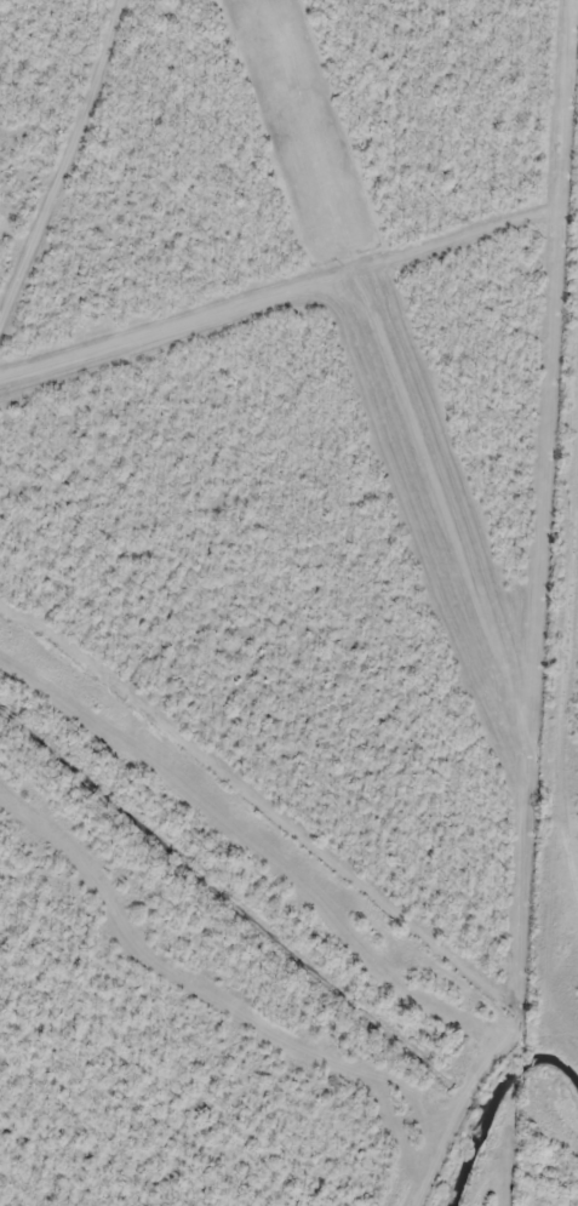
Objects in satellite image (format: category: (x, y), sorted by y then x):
river: (533, 1054)
river: (468, 1149)

